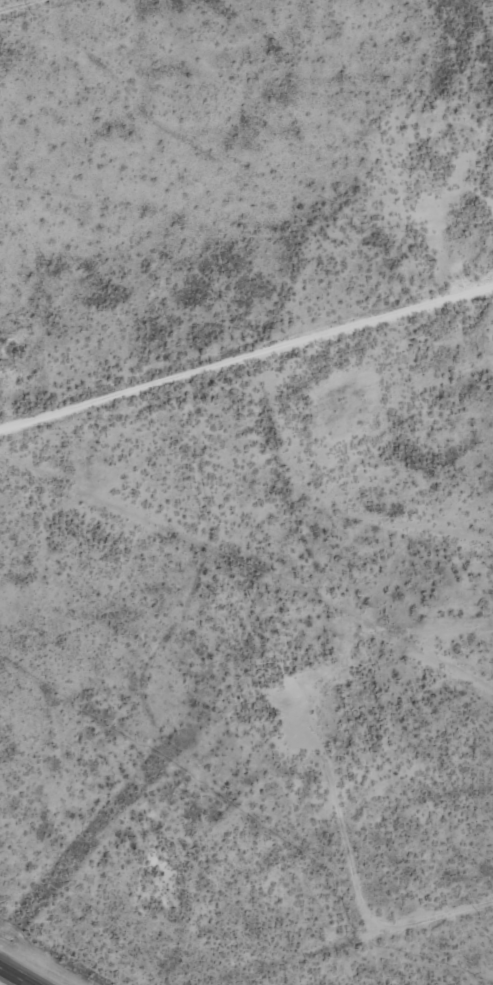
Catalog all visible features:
road: (246, 381)
road: (15, 976)

